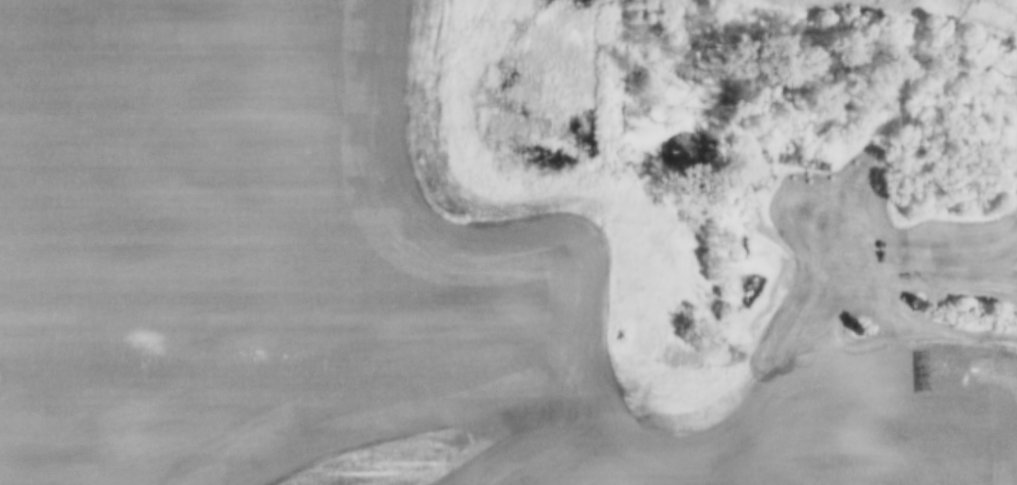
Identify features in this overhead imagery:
building: (803, 163)
road: (949, 330)

